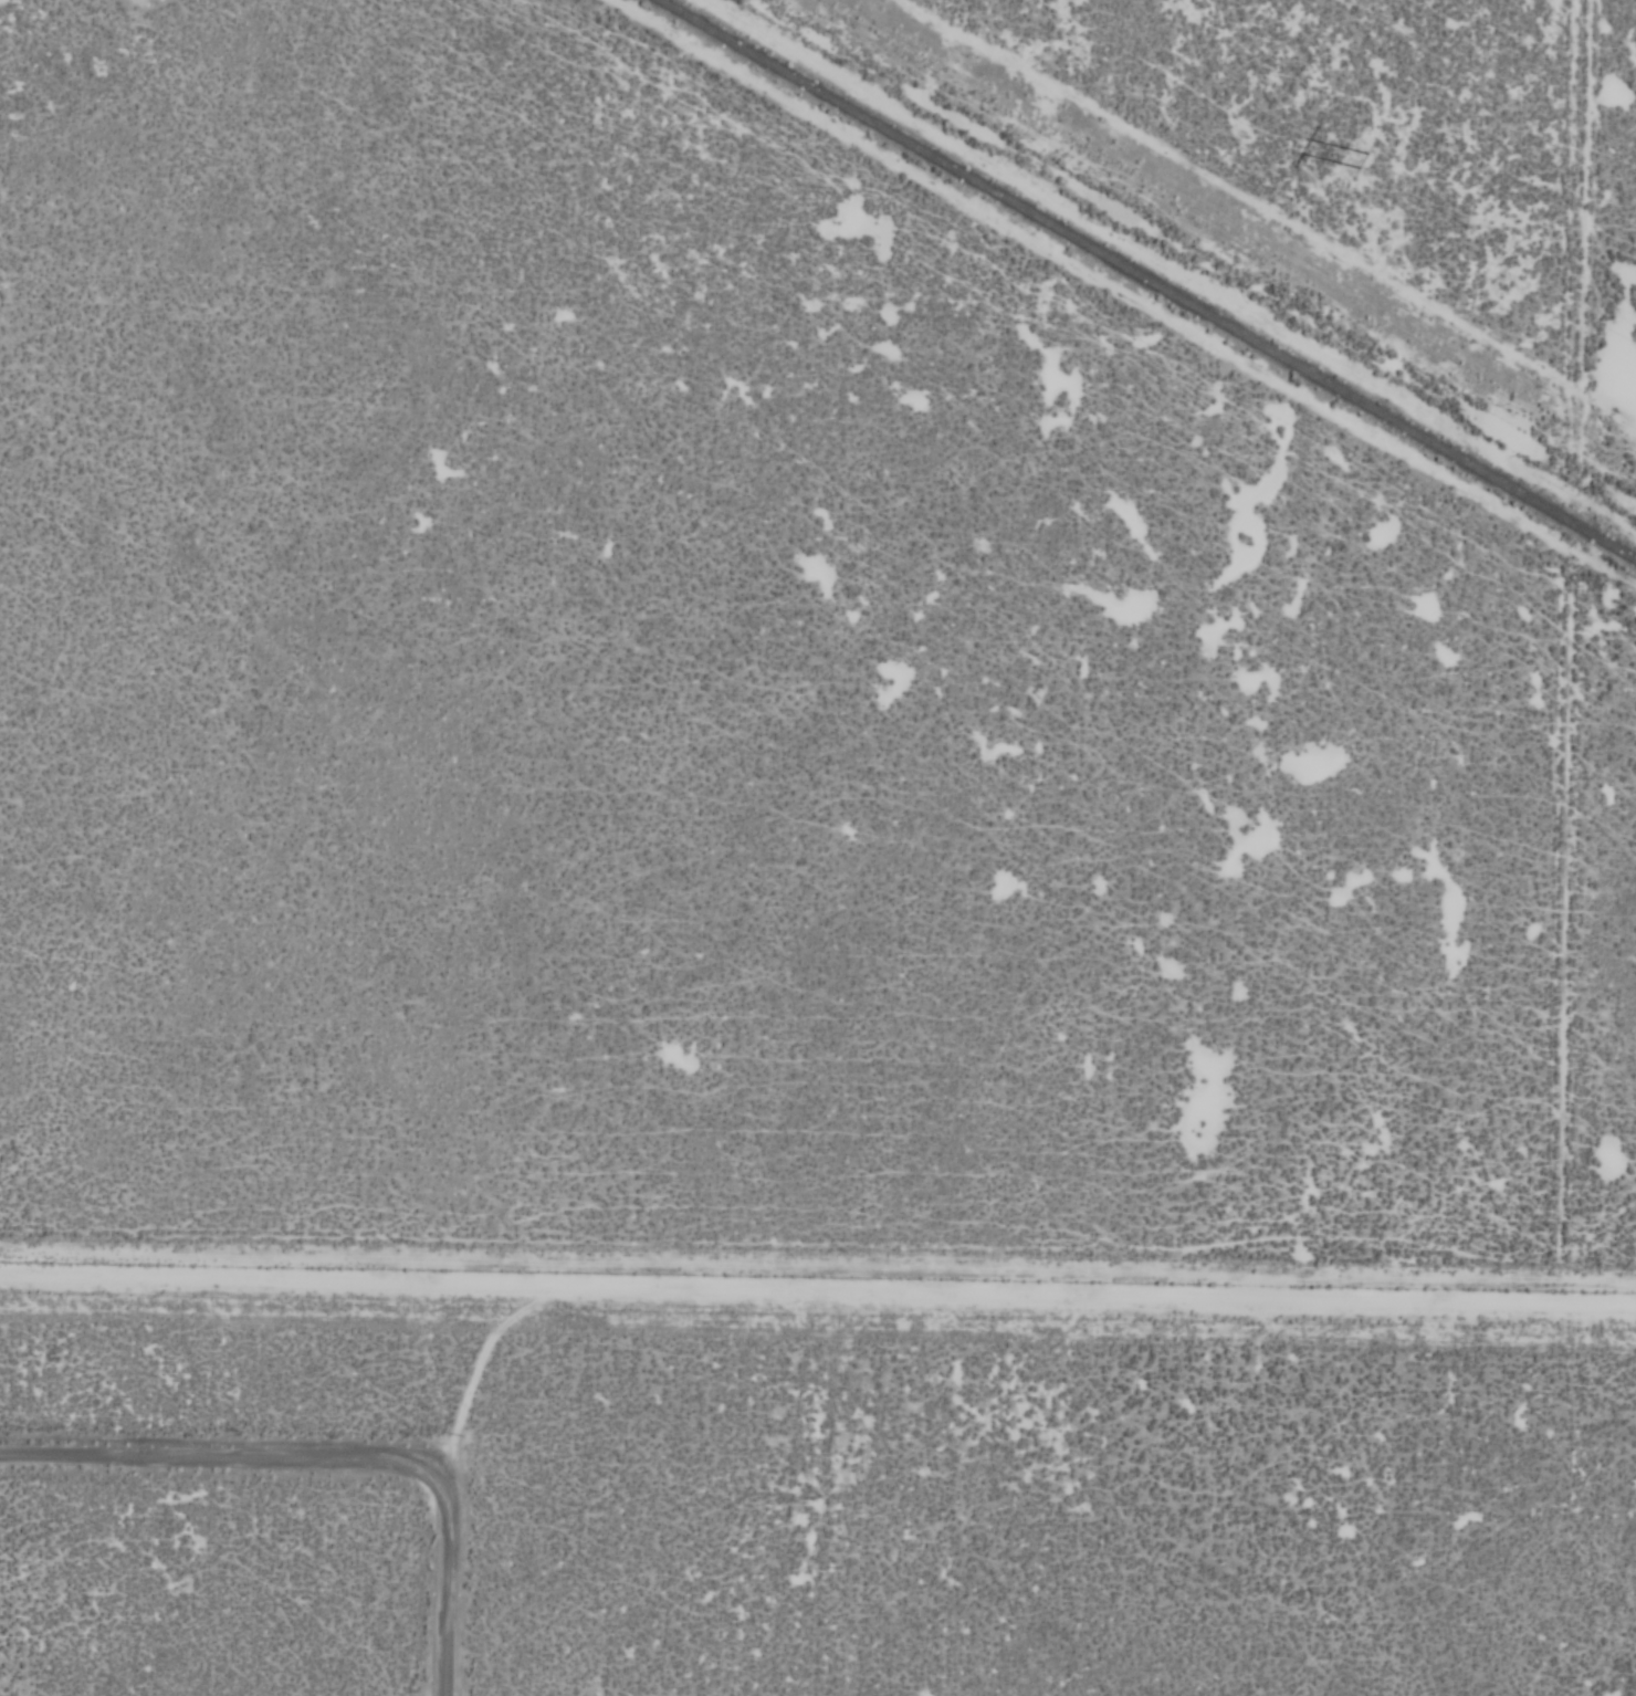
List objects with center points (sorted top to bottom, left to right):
power tower: (1355, 159)
road: (817, 1296)
road: (342, 1447)
airport: (807, 1496)

